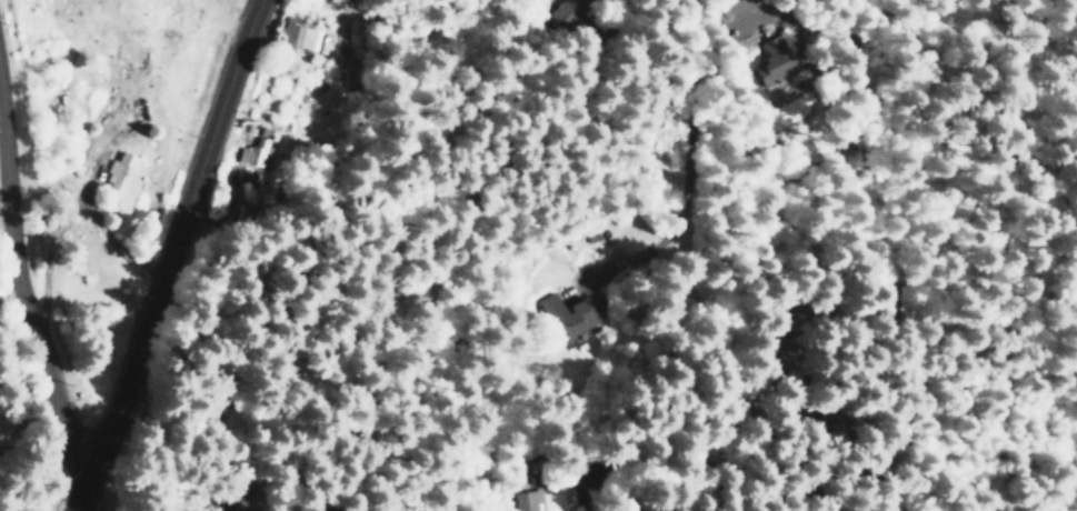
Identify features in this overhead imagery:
building: (570, 16)
building: (298, 34)
building: (770, 61)
road: (955, 144)
building: (255, 153)
building: (116, 173)
road: (169, 257)
building: (566, 315)
road: (32, 330)
road: (86, 501)
building: (526, 501)

